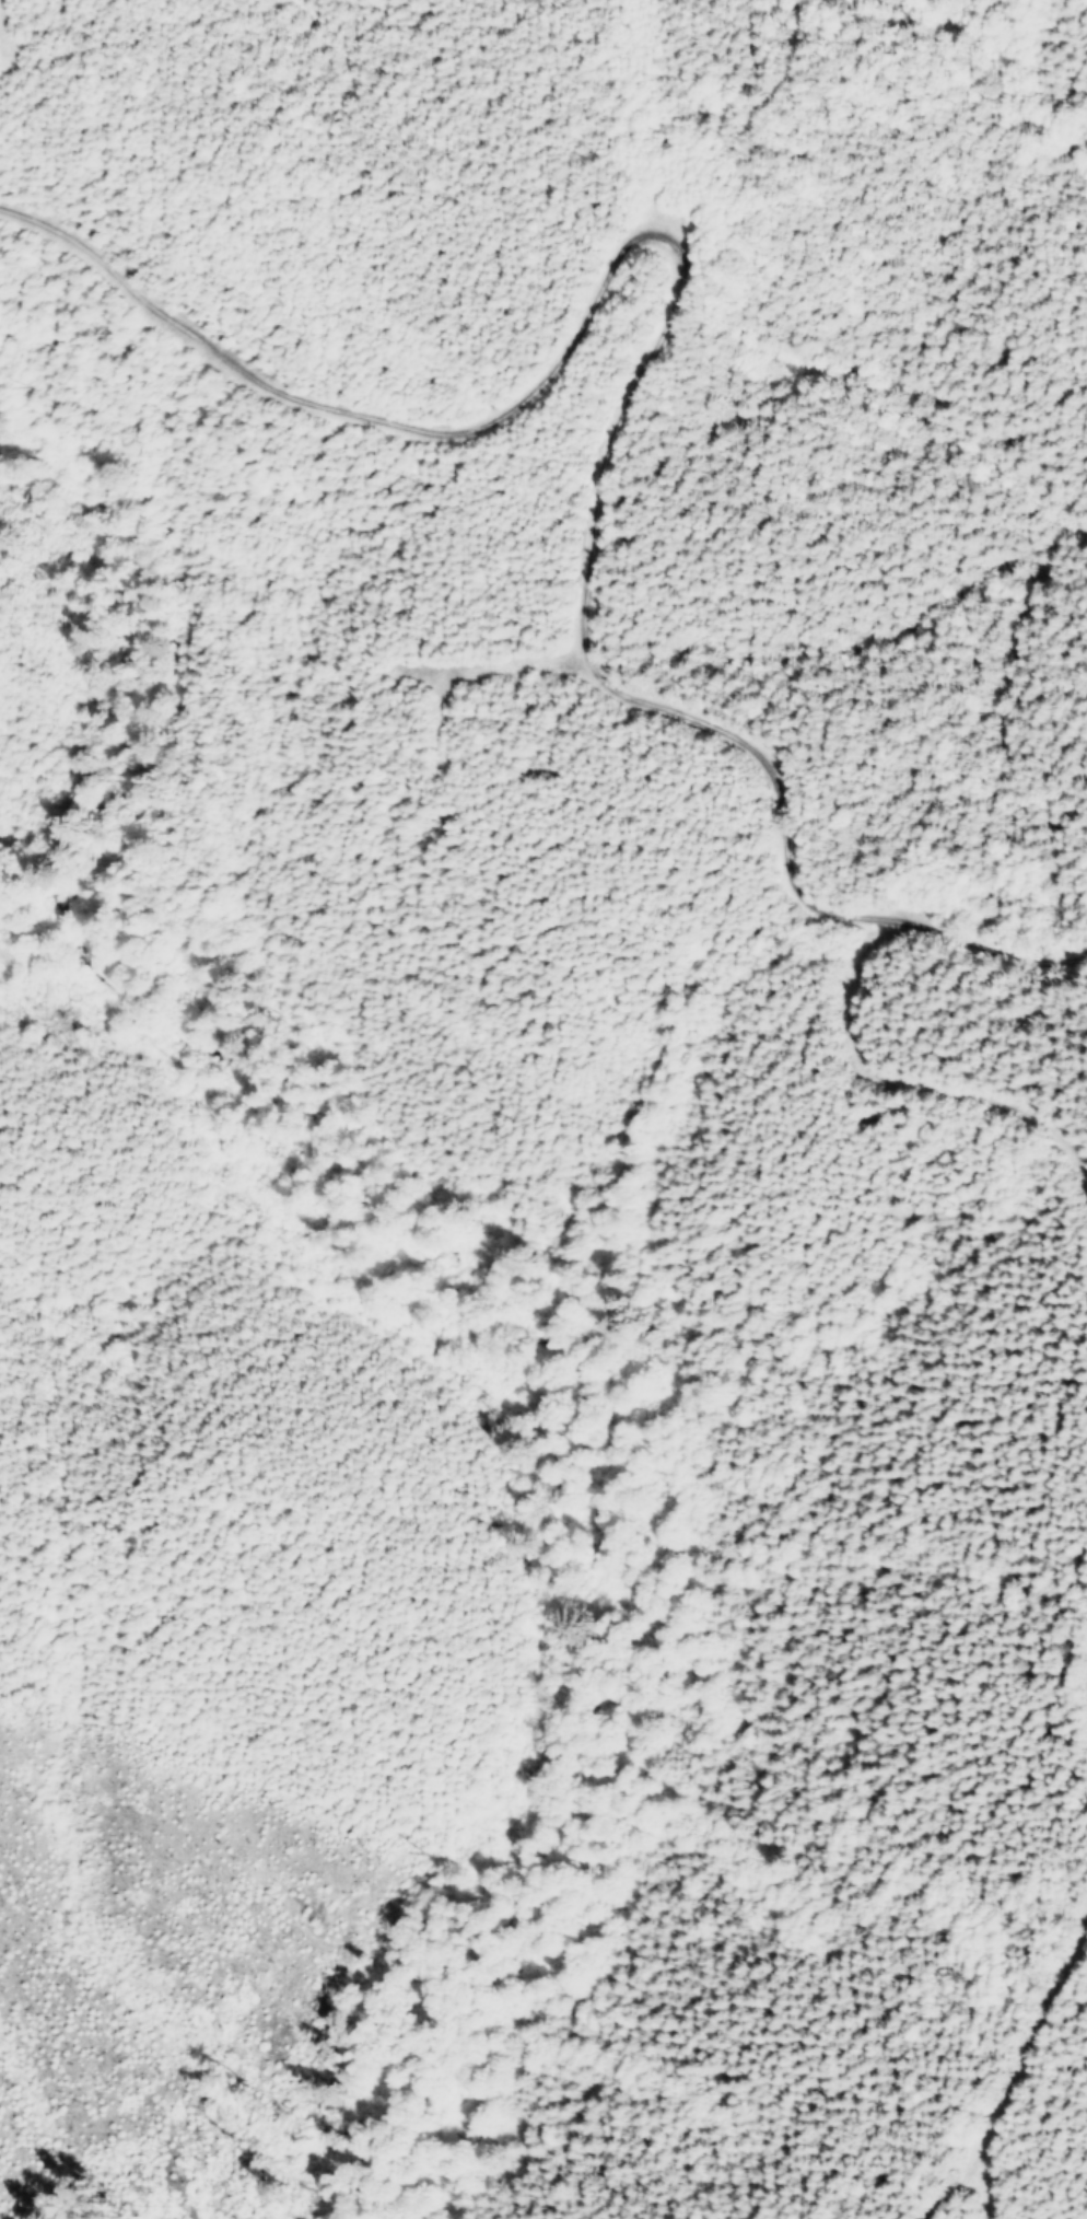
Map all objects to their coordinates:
road: (673, 375)

